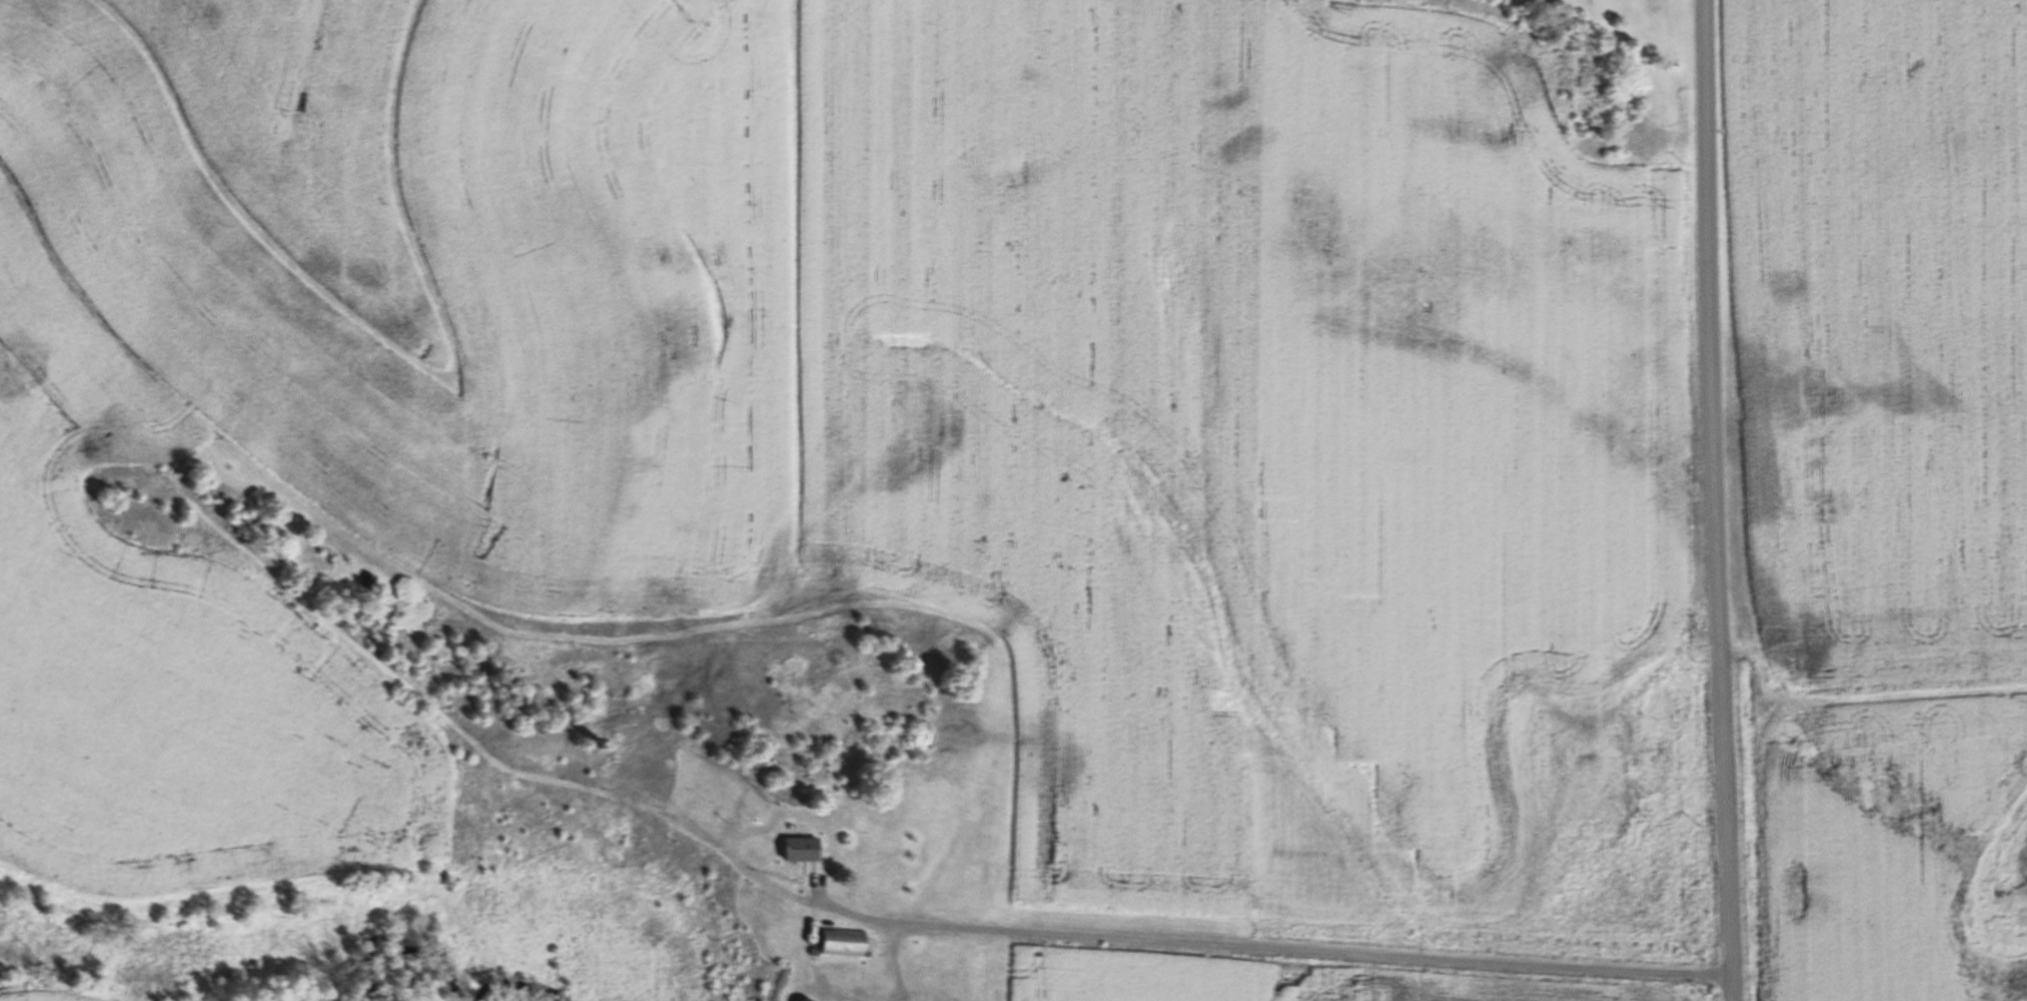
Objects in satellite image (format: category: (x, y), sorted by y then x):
road: (1719, 500)
building: (369, 581)
building: (805, 850)
building: (845, 943)
road: (1280, 954)

